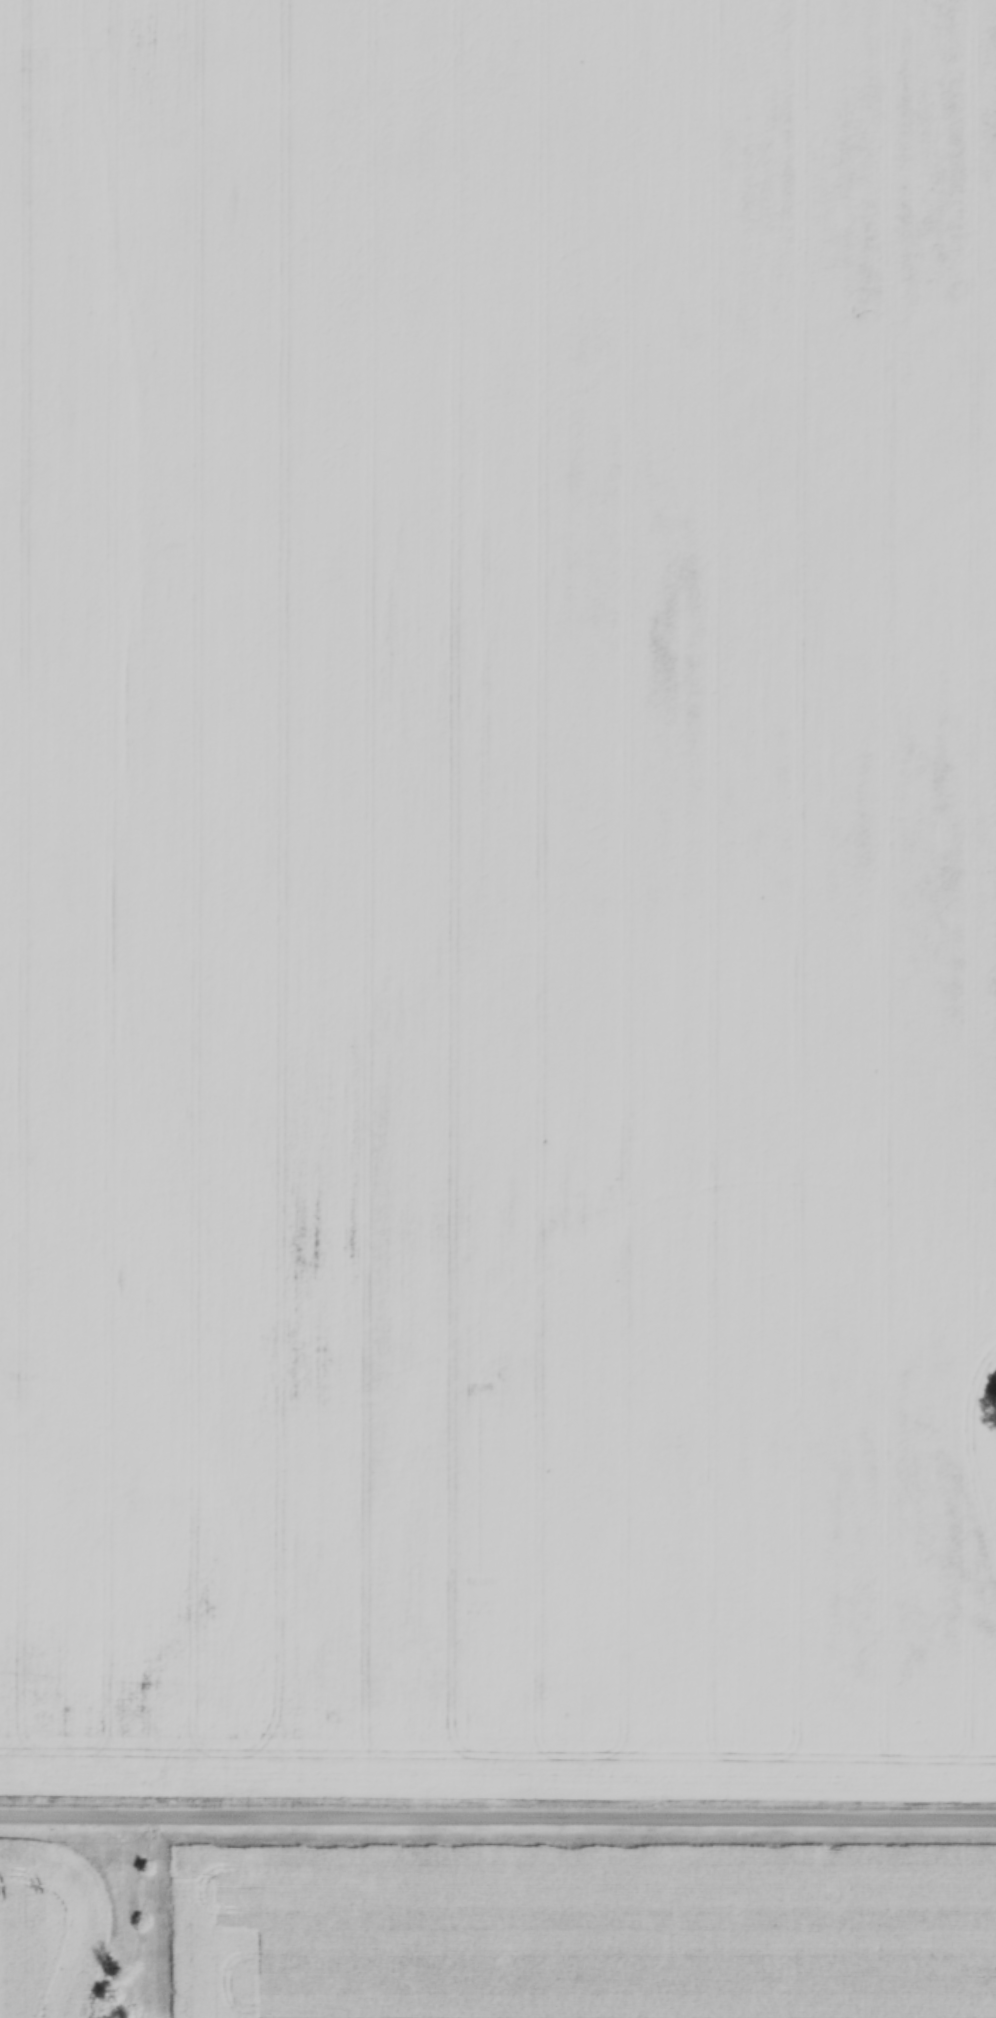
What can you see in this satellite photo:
road: (497, 1813)

